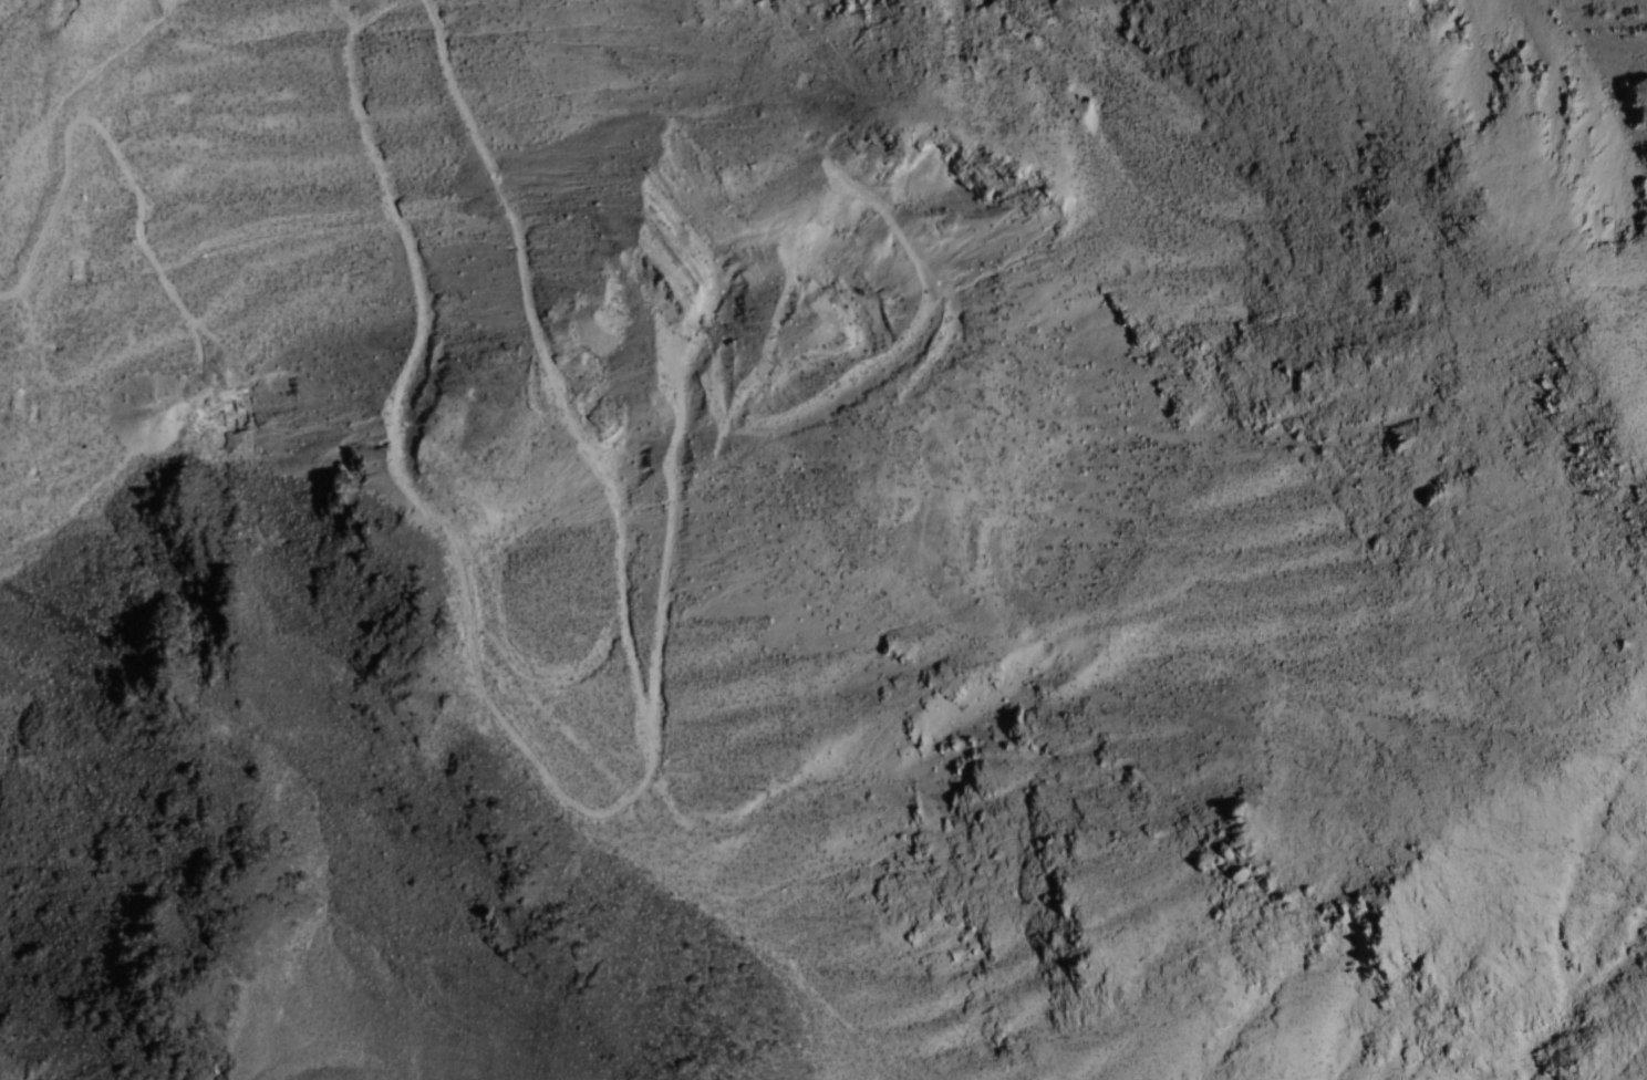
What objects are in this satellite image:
road: (103, 133)
road: (402, 233)
road: (621, 615)

